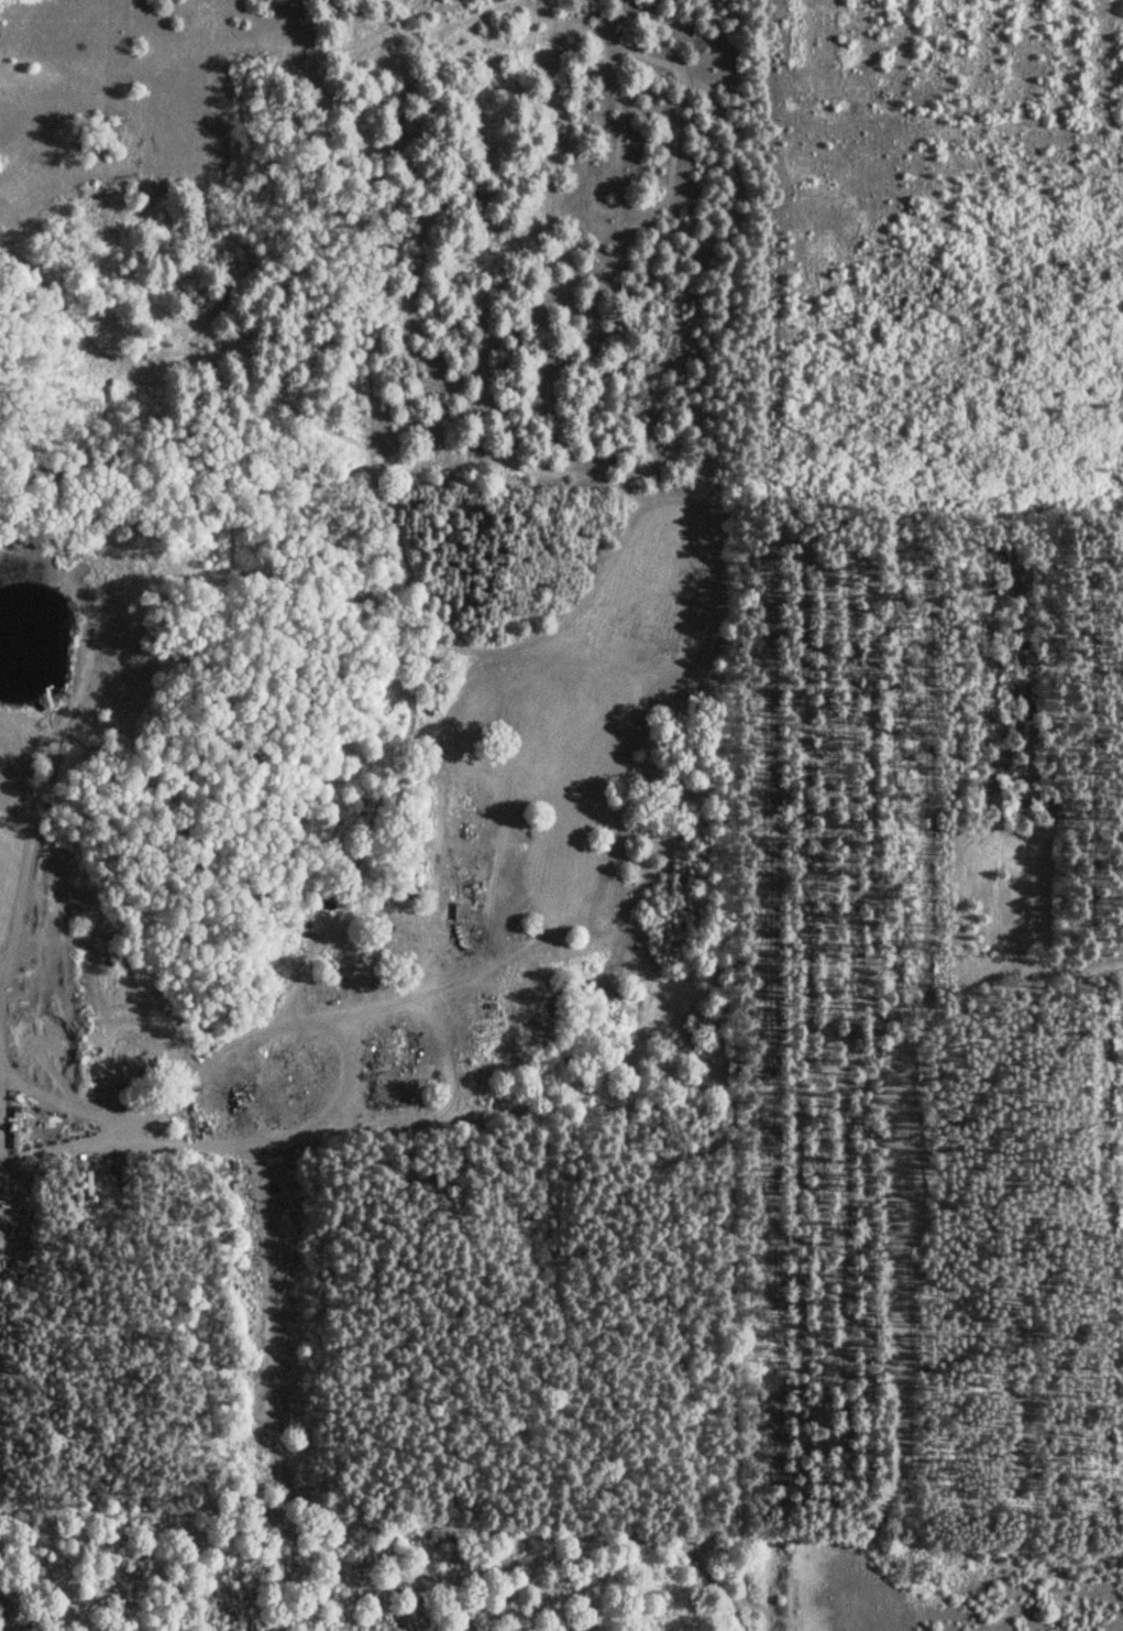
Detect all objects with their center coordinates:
building: (438, 907)

